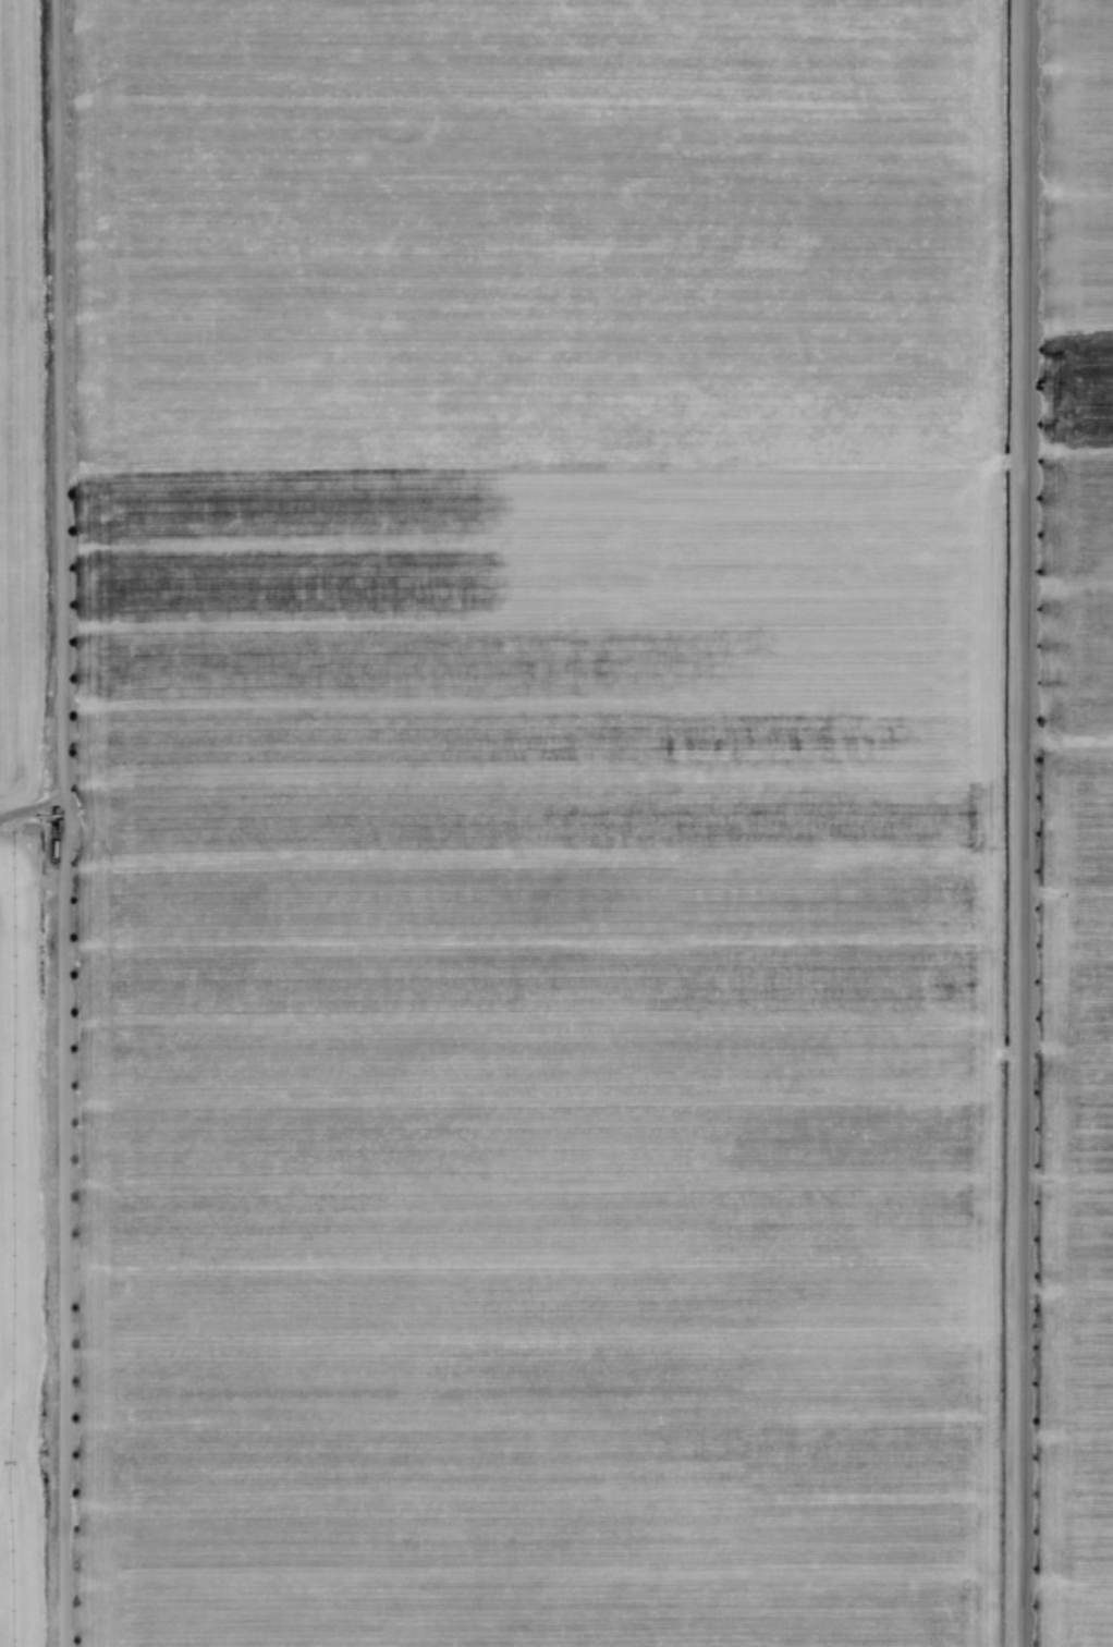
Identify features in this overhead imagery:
road: (1020, 823)

